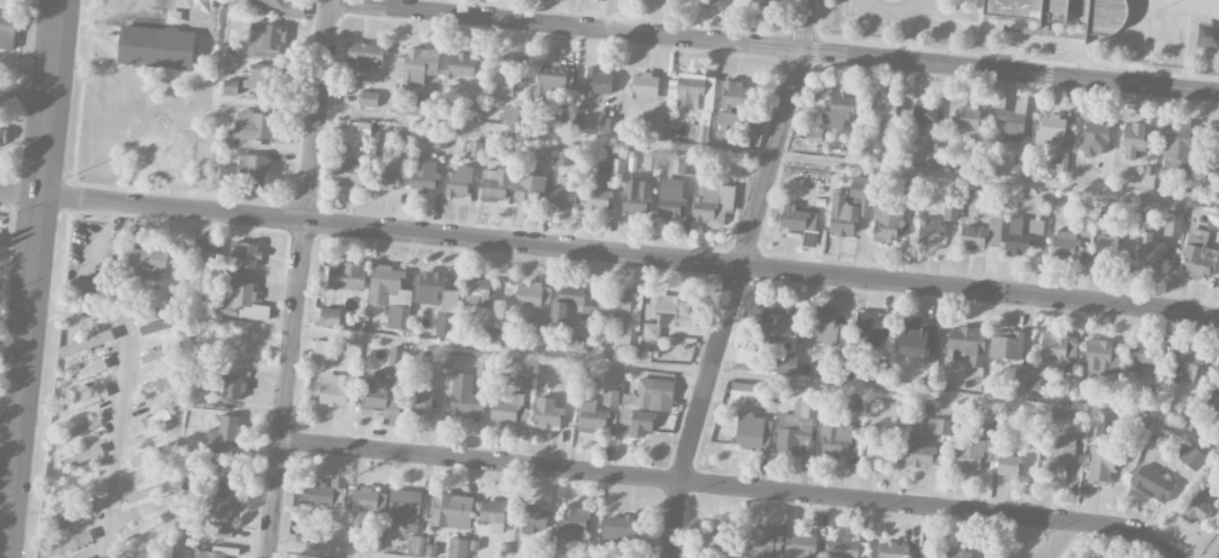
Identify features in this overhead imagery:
building: (721, 0)
building: (761, 2)
building: (282, 7)
building: (1055, 12)
building: (7, 30)
road: (908, 30)
building: (265, 41)
road: (774, 46)
building: (156, 47)
building: (365, 58)
building: (417, 65)
building: (464, 67)
building: (508, 75)
building: (551, 76)
building: (259, 81)
building: (597, 81)
building: (642, 86)
building: (230, 88)
building: (734, 94)
building: (7, 99)
building: (368, 99)
building: (696, 100)
building: (423, 104)
building: (839, 110)
building: (563, 111)
building: (883, 111)
building: (923, 113)
building: (513, 114)
building: (965, 117)
building: (1007, 117)
building: (728, 119)
building: (606, 123)
building: (651, 125)
building: (254, 126)
building: (357, 128)
building: (1051, 128)
building: (815, 132)
building: (1094, 136)
building: (2, 138)
building: (1133, 139)
building: (1213, 140)
building: (1177, 146)
building: (565, 154)
building: (651, 160)
building: (1060, 163)
building: (686, 165)
building: (254, 168)
building: (351, 174)
building: (424, 176)
building: (391, 179)
building: (458, 183)
building: (494, 184)
building: (530, 185)
building: (565, 191)
building: (905, 191)
building: (597, 192)
building: (635, 196)
building: (669, 197)
building: (711, 203)
building: (849, 206)
building: (950, 212)
building: (795, 217)
building: (886, 220)
building: (1173, 223)
building: (928, 231)
building: (982, 234)
building: (1020, 234)
building: (1064, 245)
building: (212, 246)
building: (1106, 247)
road: (609, 252)
building: (1151, 253)
building: (246, 255)
building: (1197, 257)
building: (150, 259)
building: (347, 275)
road: (34, 278)
road: (299, 278)
road: (737, 278)
building: (79, 288)
building: (439, 290)
building: (479, 292)
building: (390, 295)
building: (244, 301)
building: (559, 310)
building: (669, 310)
building: (622, 311)
building: (330, 317)
building: (771, 323)
building: (159, 326)
building: (868, 328)
building: (651, 330)
building: (490, 335)
building: (915, 340)
building: (86, 344)
building: (965, 344)
building: (1006, 344)
building: (322, 351)
building: (1140, 352)
building: (161, 353)
building: (1055, 353)
building: (837, 355)
building: (1101, 357)
building: (395, 358)
building: (746, 358)
building: (434, 359)
building: (786, 363)
building: (1185, 366)
building: (88, 370)
building: (1018, 381)
building: (156, 385)
building: (233, 387)
building: (336, 389)
building: (742, 390)
building: (380, 392)
road: (122, 393)
building: (465, 397)
building: (609, 397)
building: (86, 401)
building: (854, 401)
building: (1213, 401)
building: (420, 404)
building: (645, 405)
road: (10, 409)
building: (507, 409)
building: (546, 413)
building: (591, 416)
building: (149, 422)
building: (938, 425)
building: (81, 428)
building: (796, 428)
building: (750, 430)
building: (984, 430)
building: (224, 433)
building: (835, 437)
building: (879, 449)
building: (148, 451)
building: (922, 453)
building: (972, 453)
building: (1100, 454)
building: (1190, 456)
building: (81, 459)
building: (1059, 459)
building: (1007, 466)
building: (221, 477)
building: (1152, 483)
road: (731, 487)
building: (330, 491)
building: (143, 494)
building: (1195, 501)
building: (361, 506)
building: (219, 511)
building: (452, 511)
building: (404, 512)
building: (494, 513)
building: (74, 514)
building: (533, 519)
building: (572, 524)
building: (141, 529)
building: (618, 529)
building: (714, 539)
road: (1061, 540)
building: (765, 541)
building: (65, 545)
building: (800, 546)
building: (462, 547)
building: (846, 548)
building: (891, 550)
building: (181, 551)
building: (589, 553)
building: (928, 553)
building: (956, 553)
building: (208, 554)
building: (1101, 554)
building: (1124, 556)
building: (330, 557)

